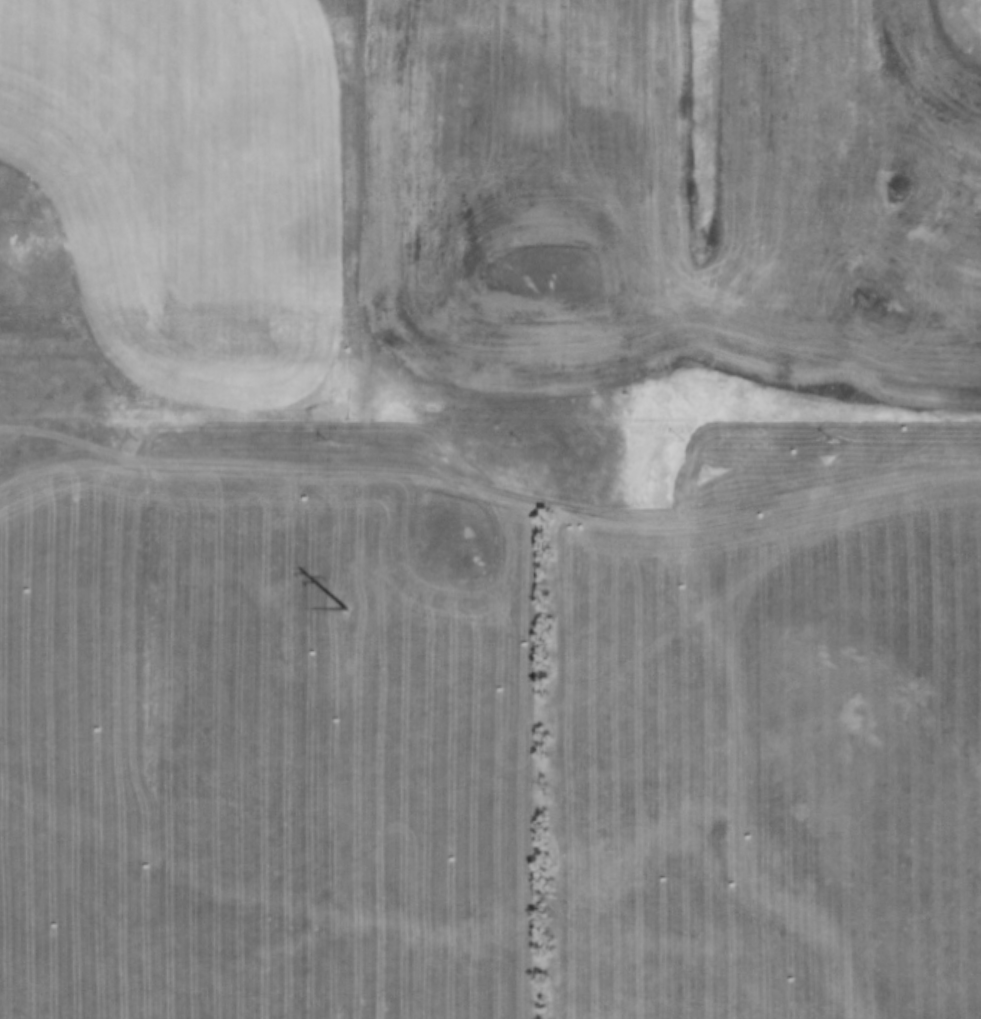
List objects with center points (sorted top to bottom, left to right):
road: (823, 410)
road: (496, 480)
power tower: (353, 606)

